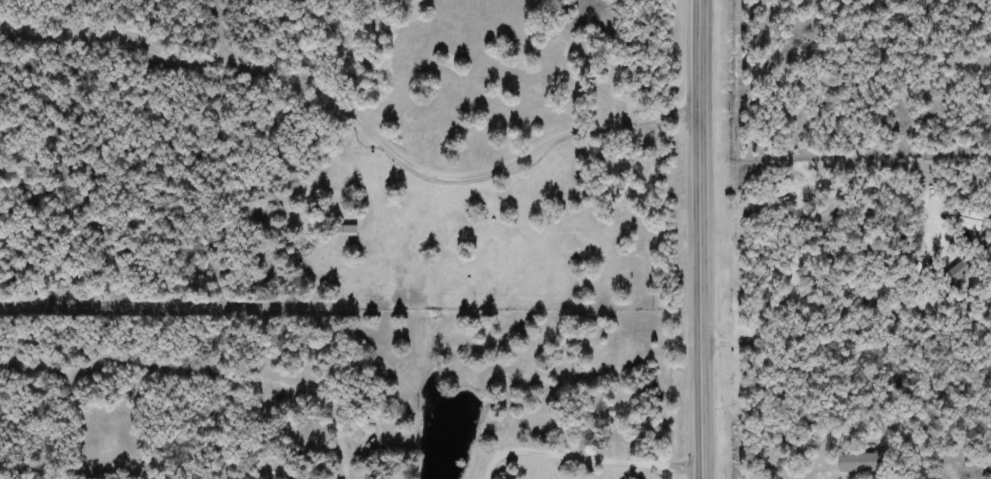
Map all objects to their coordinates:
road: (352, 128)
road: (844, 217)
building: (350, 229)
road: (698, 239)
road: (577, 450)
building: (862, 462)

